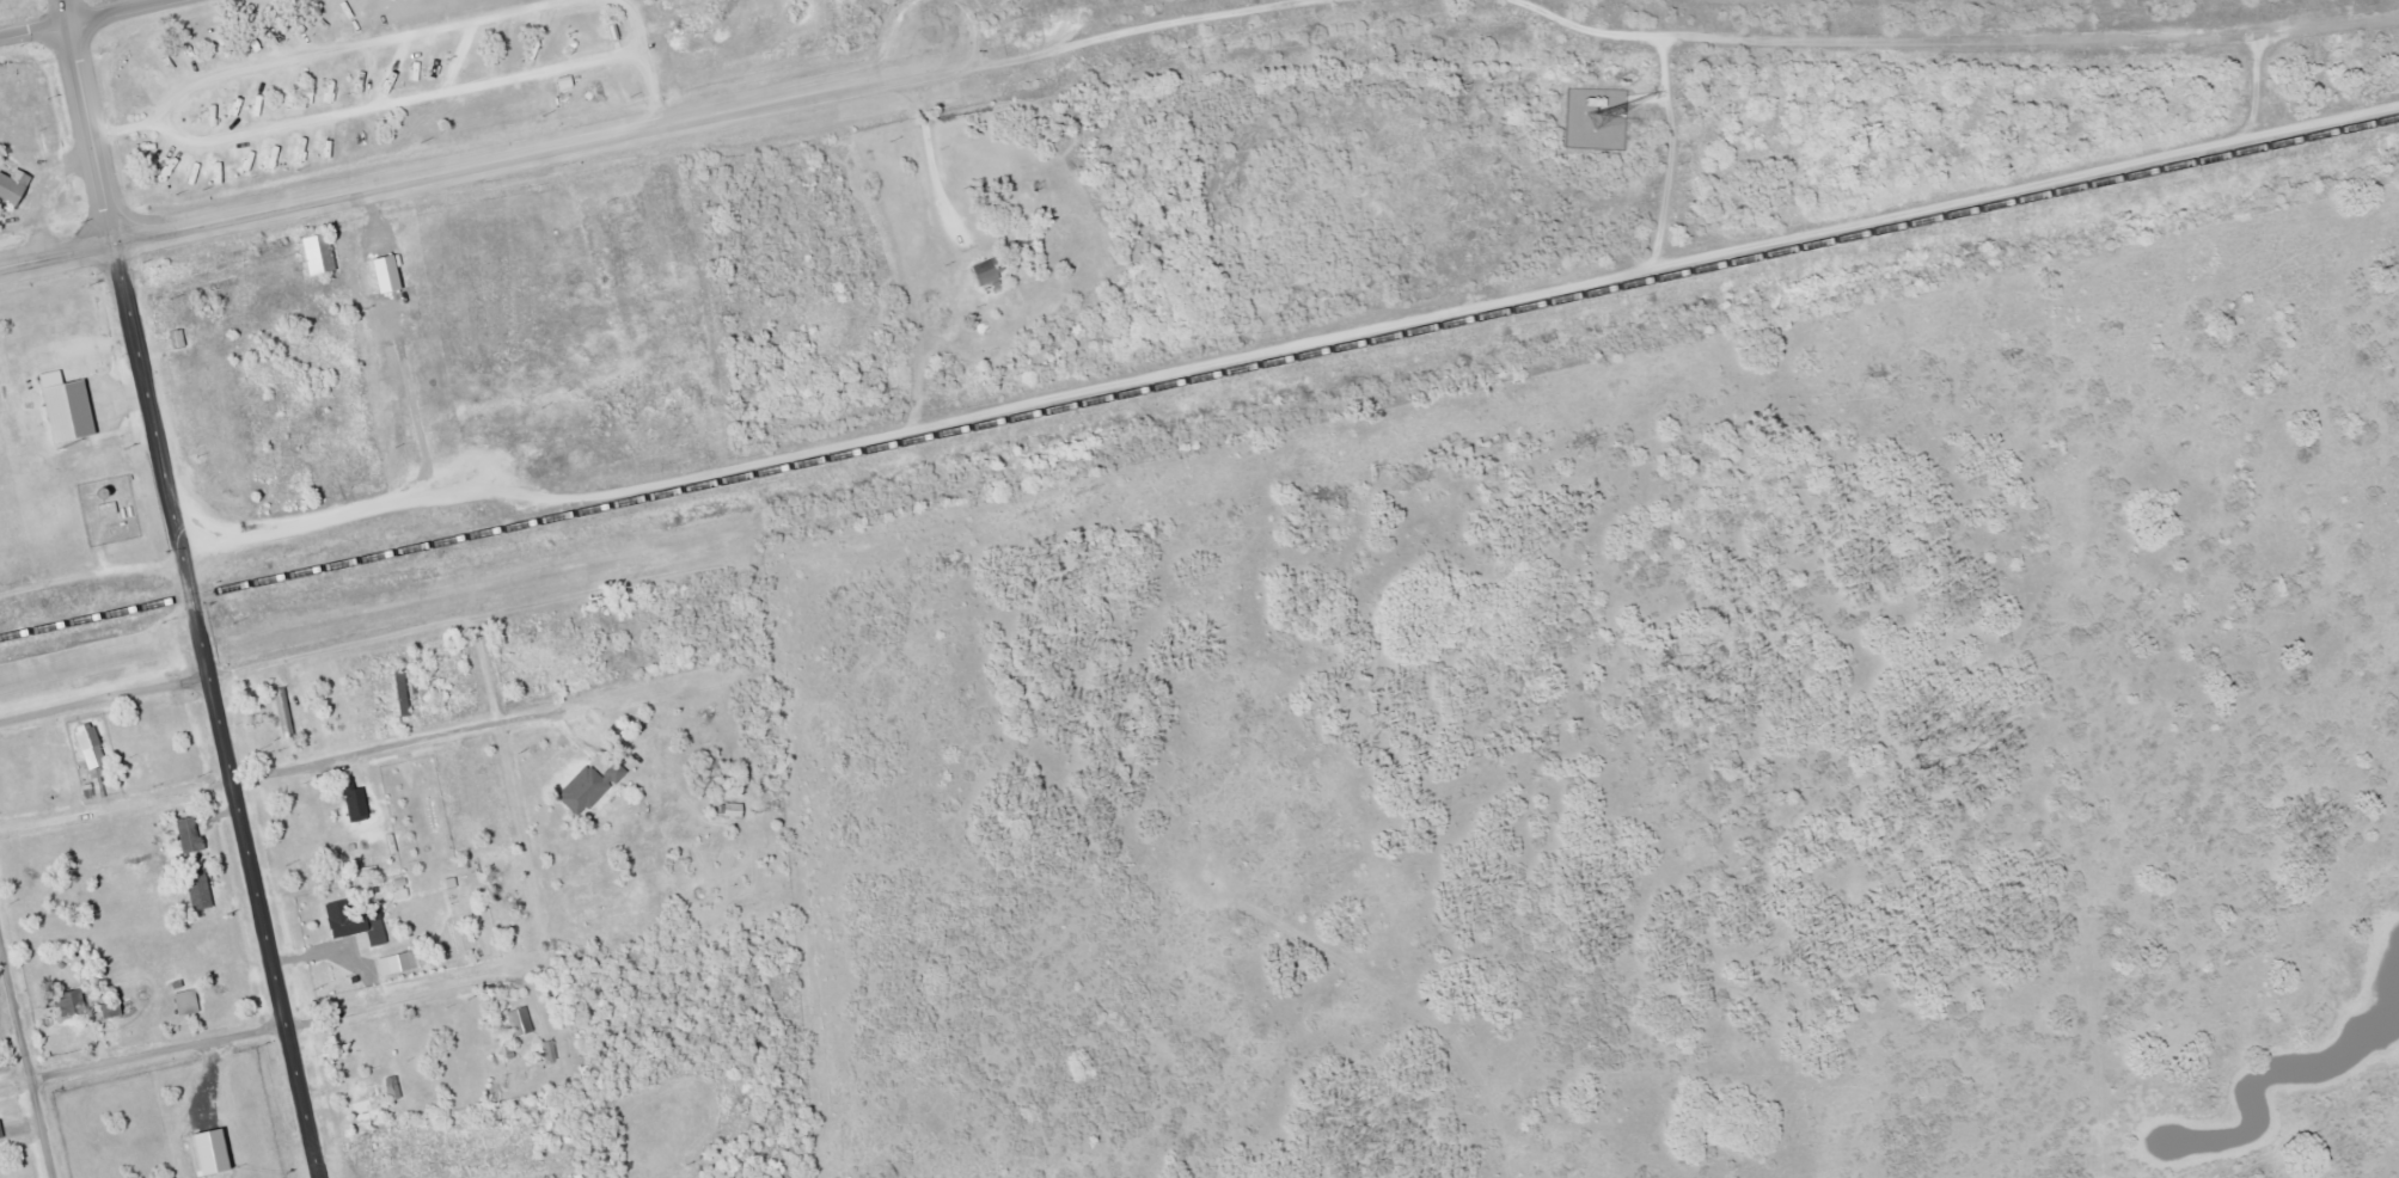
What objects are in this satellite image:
road: (68, 11)
road: (121, 11)
road: (632, 25)
road: (35, 30)
road: (354, 47)
road: (398, 100)
building: (1592, 102)
road: (90, 131)
road: (478, 159)
building: (16, 185)
building: (322, 253)
building: (985, 272)
railway: (1199, 375)
building: (88, 405)
building: (99, 495)
storage tank: (99, 495)
building: (108, 508)
road: (379, 632)
building: (399, 697)
road: (215, 708)
building: (281, 712)
road: (392, 741)
building: (93, 759)
road: (115, 799)
building: (350, 800)
building: (192, 834)
building: (202, 890)
building: (353, 926)
building: (411, 958)
road: (398, 996)
building: (189, 1001)
building: (74, 1002)
building: (516, 1020)
building: (547, 1050)
road: (141, 1054)
road: (26, 1055)
building: (391, 1087)
building: (361, 1105)

